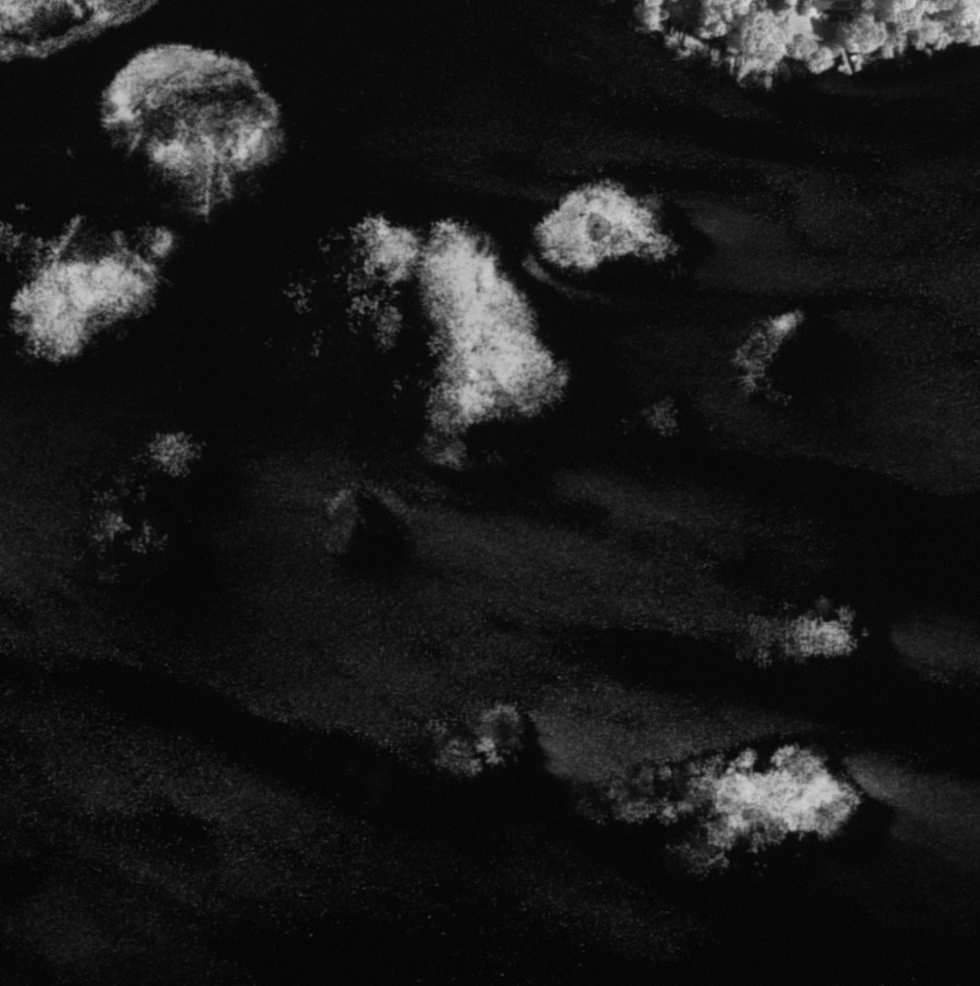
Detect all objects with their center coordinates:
building: (822, 6)

